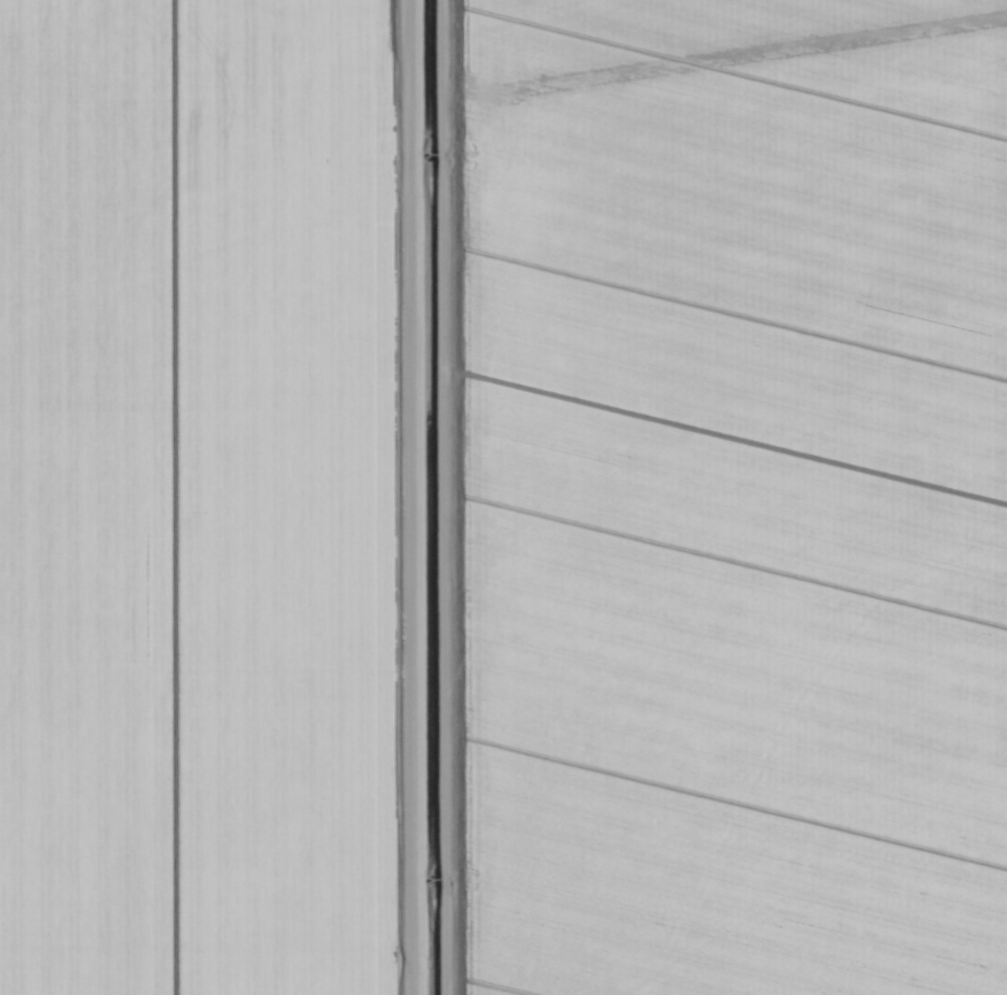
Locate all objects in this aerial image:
road: (410, 497)
crop: (503, 497)

